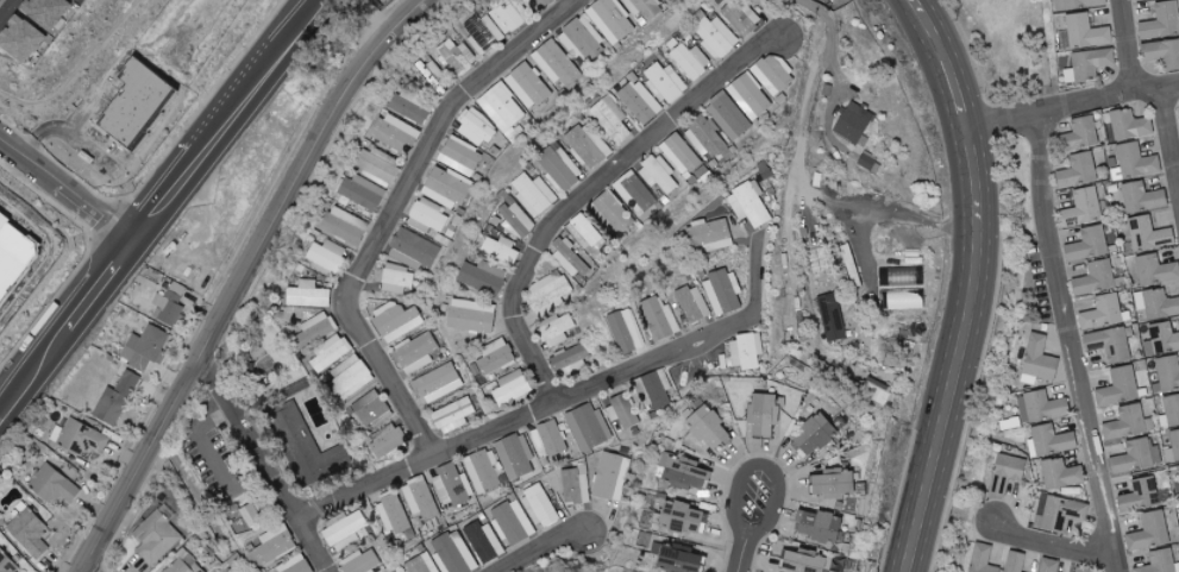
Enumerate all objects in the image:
building: (75, 0)
building: (1139, 0)
road: (7, 2)
building: (1078, 4)
building: (538, 5)
building: (645, 8)
road: (7, 10)
building: (45, 12)
building: (506, 17)
building: (742, 18)
building: (612, 20)
building: (1162, 20)
building: (1086, 32)
building: (484, 33)
building: (717, 37)
building: (20, 39)
building: (583, 39)
road: (1128, 46)
building: (1164, 52)
building: (457, 57)
building: (690, 61)
building: (557, 63)
building: (1090, 63)
building: (774, 74)
building: (434, 76)
building: (529, 83)
building: (665, 83)
building: (748, 100)
building: (639, 101)
building: (139, 105)
road: (1074, 106)
building: (413, 107)
building: (502, 107)
building: (729, 118)
building: (612, 119)
building: (854, 122)
building: (1130, 125)
building: (476, 127)
road: (1171, 128)
building: (1085, 130)
road: (69, 132)
building: (396, 133)
building: (705, 138)
building: (587, 146)
building: (681, 155)
building: (462, 156)
building: (1136, 161)
building: (870, 163)
building: (380, 165)
building: (1079, 169)
building: (558, 170)
building: (659, 174)
road: (796, 175)
building: (449, 187)
road: (65, 188)
building: (363, 193)
road: (594, 193)
building: (635, 193)
building: (534, 194)
building: (1142, 197)
building: (750, 205)
building: (1084, 206)
road: (158, 207)
road: (403, 208)
road: (886, 208)
building: (613, 212)
building: (427, 216)
building: (518, 220)
building: (346, 226)
building: (587, 233)
building: (1149, 234)
building: (1087, 244)
building: (414, 250)
building: (502, 250)
building: (330, 254)
building: (14, 257)
road: (55, 257)
building: (570, 259)
building: (1155, 269)
road: (242, 277)
building: (484, 277)
building: (1096, 278)
building: (396, 281)
road: (976, 283)
building: (723, 293)
building: (550, 294)
building: (309, 295)
building: (1156, 303)
building: (170, 304)
building: (694, 304)
building: (1103, 312)
building: (832, 316)
building: (476, 318)
building: (395, 319)
building: (659, 320)
building: (320, 326)
building: (557, 331)
building: (1161, 338)
road: (1073, 342)
building: (1110, 344)
building: (146, 347)
building: (746, 351)
building: (416, 352)
building: (330, 353)
building: (497, 357)
building: (571, 360)
building: (1039, 360)
building: (1168, 372)
building: (351, 377)
building: (438, 383)
building: (1120, 386)
building: (512, 388)
building: (657, 389)
building: (878, 392)
building: (117, 398)
road: (562, 406)
building: (1041, 407)
building: (623, 410)
building: (1171, 410)
building: (453, 416)
building: (1125, 422)
building: (709, 427)
building: (815, 434)
building: (82, 439)
building: (548, 439)
building: (1051, 440)
building: (1175, 442)
road: (205, 444)
building: (313, 445)
building: (389, 445)
building: (515, 452)
building: (1137, 455)
road: (263, 461)
road: (764, 466)
building: (484, 471)
building: (685, 472)
building: (1006, 473)
building: (1061, 473)
building: (612, 476)
building: (834, 483)
building: (54, 485)
building: (576, 485)
building: (453, 486)
building: (1144, 495)
building: (421, 501)
building: (540, 505)
building: (394, 513)
building: (1062, 513)
building: (252, 514)
building: (682, 516)
building: (513, 522)
building: (821, 526)
building: (345, 529)
building: (1149, 532)
building: (29, 533)
building: (157, 535)
building: (484, 541)
building: (276, 543)
road: (559, 552)
road: (744, 552)
road: (1062, 553)
building: (444, 557)
building: (679, 558)
building: (983, 559)
building: (363, 561)
building: (803, 561)
building: (1016, 561)
building: (1160, 561)
building: (7, 564)
building: (184, 564)
building: (295, 565)
building: (1049, 565)
building: (1084, 570)
road: (84, 571)

